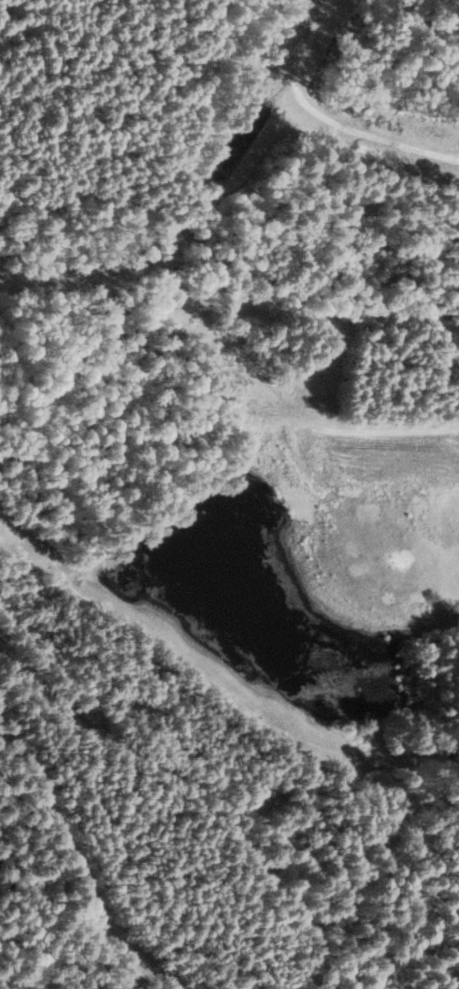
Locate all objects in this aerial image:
road: (434, 797)

